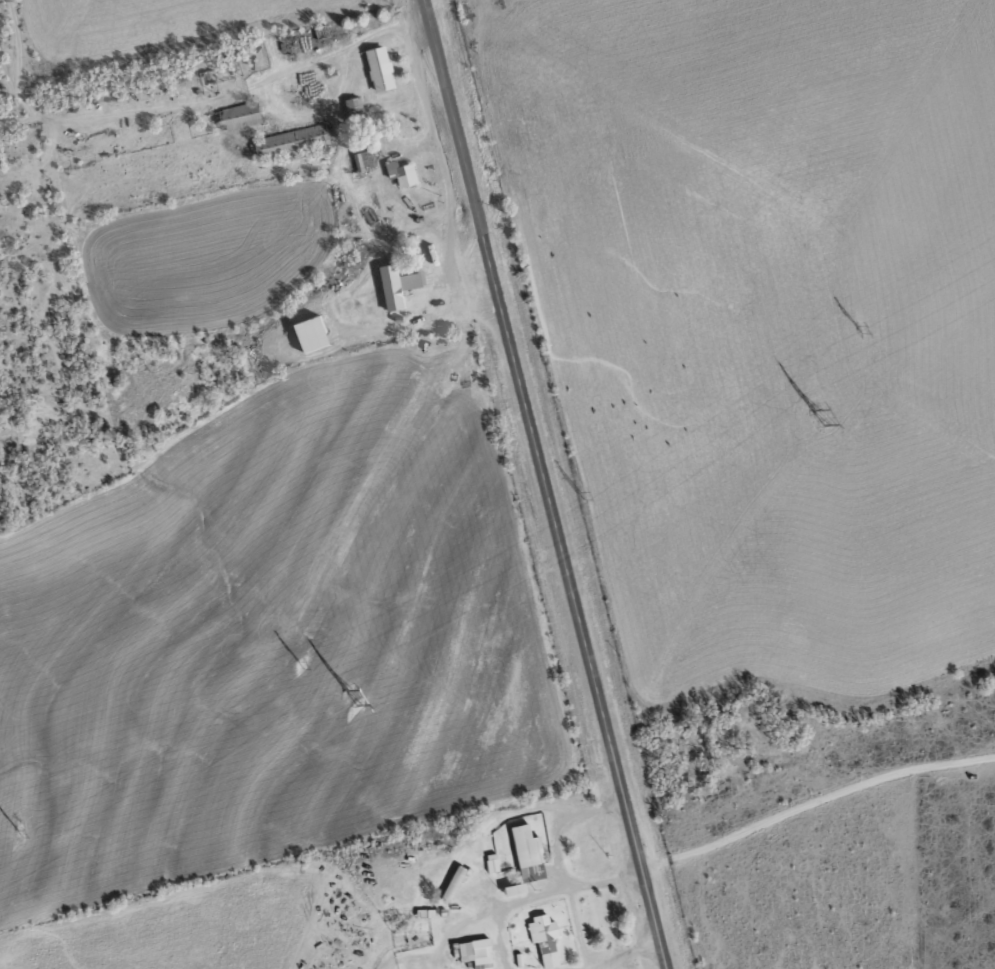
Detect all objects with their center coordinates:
building: (382, 70)
building: (241, 117)
building: (293, 143)
building: (404, 175)
road: (443, 177)
road: (470, 264)
building: (399, 288)
power tower: (861, 329)
building: (314, 335)
power tower: (816, 418)
road: (545, 484)
power tower: (584, 496)
power tower: (303, 665)
power tower: (351, 700)
power tower: (21, 834)
building: (529, 853)
building: (493, 862)
building: (454, 883)
building: (545, 938)
building: (477, 952)

